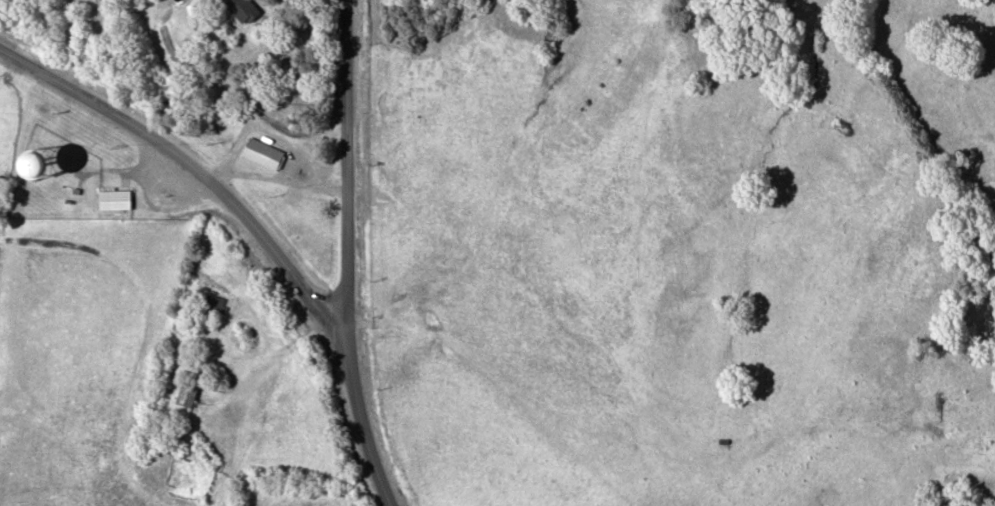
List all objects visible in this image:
building: (93, 0)
building: (244, 8)
building: (262, 152)
road: (186, 159)
building: (45, 164)
road: (277, 179)
building: (114, 198)
road: (344, 257)
building: (214, 302)
building: (187, 391)

